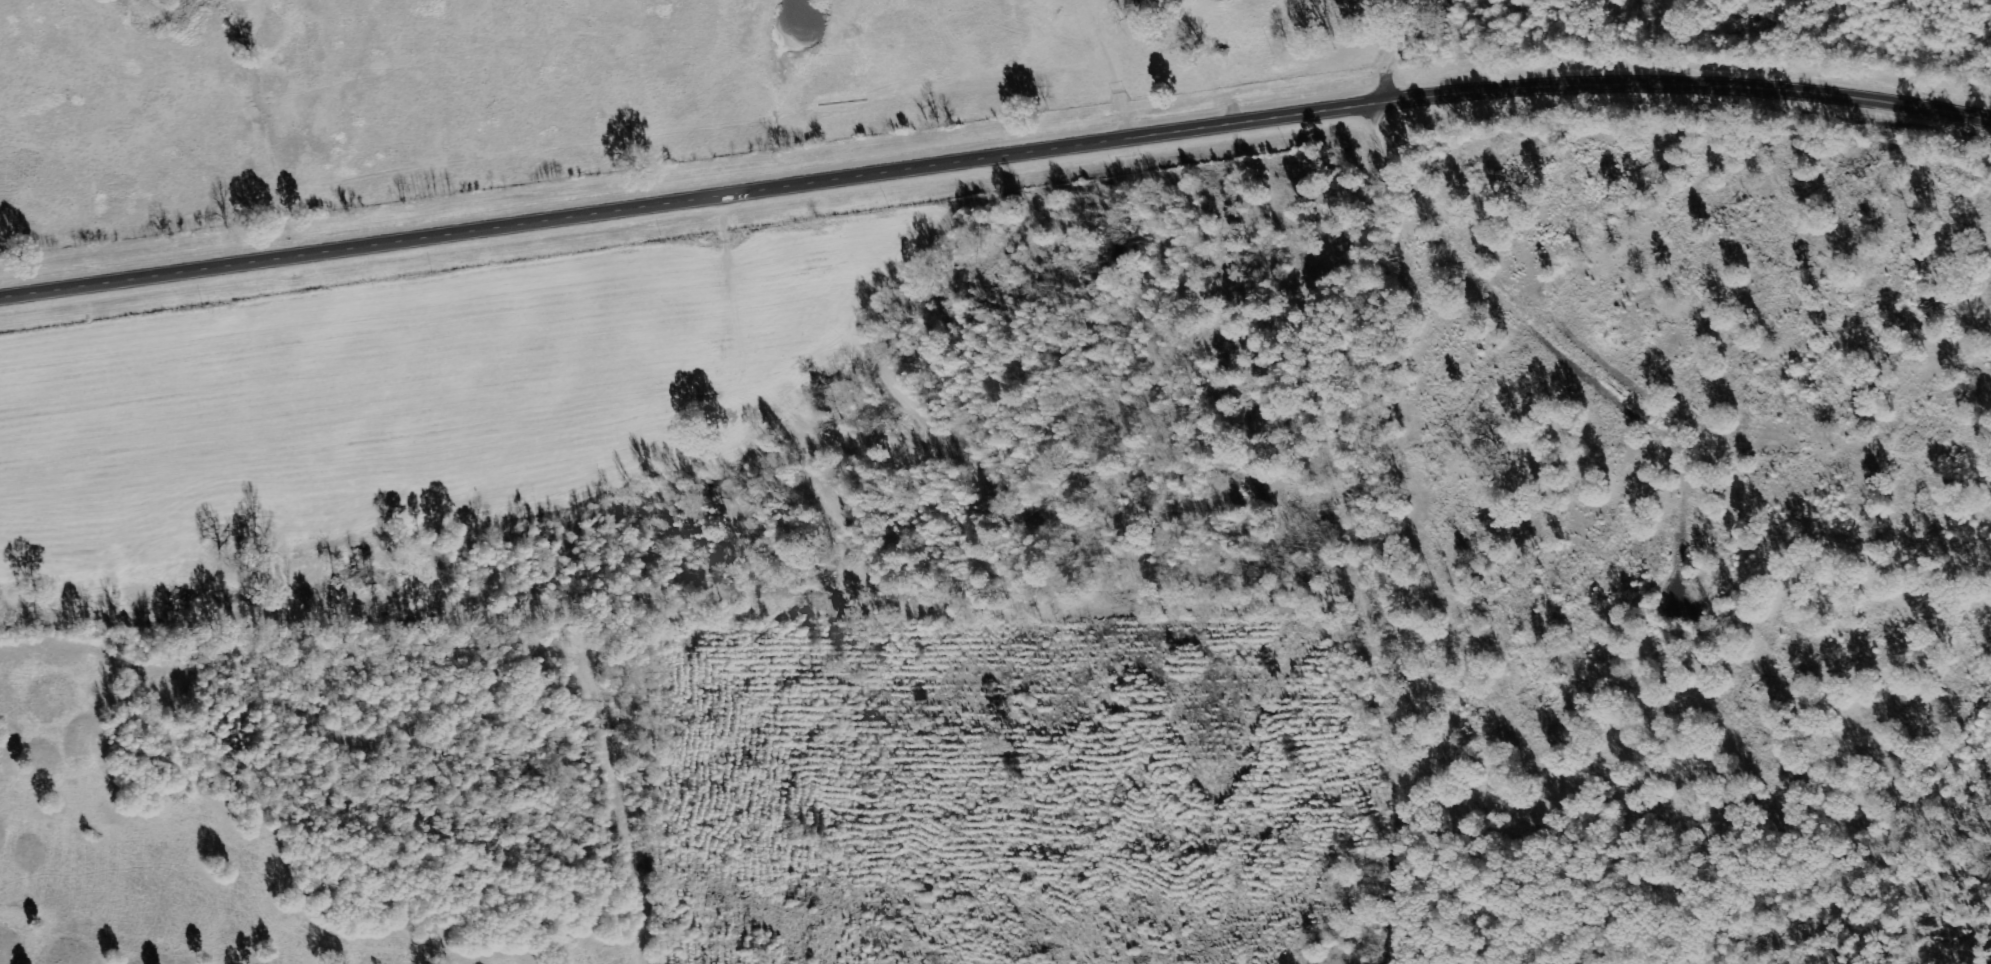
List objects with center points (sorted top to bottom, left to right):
road: (1409, 45)
road: (994, 155)
road: (1375, 531)

